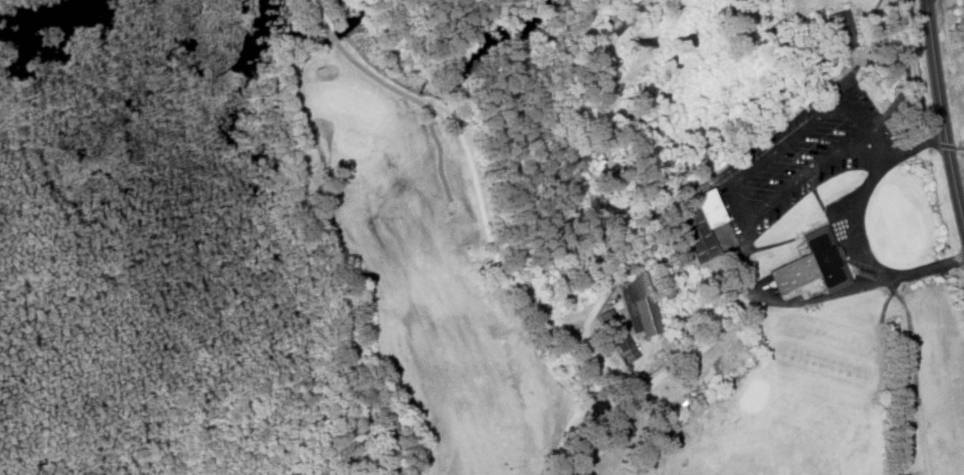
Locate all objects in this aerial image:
building: (841, 29)
road: (942, 114)
building: (710, 207)
building: (696, 231)
building: (808, 266)
building: (640, 304)
building: (618, 334)

